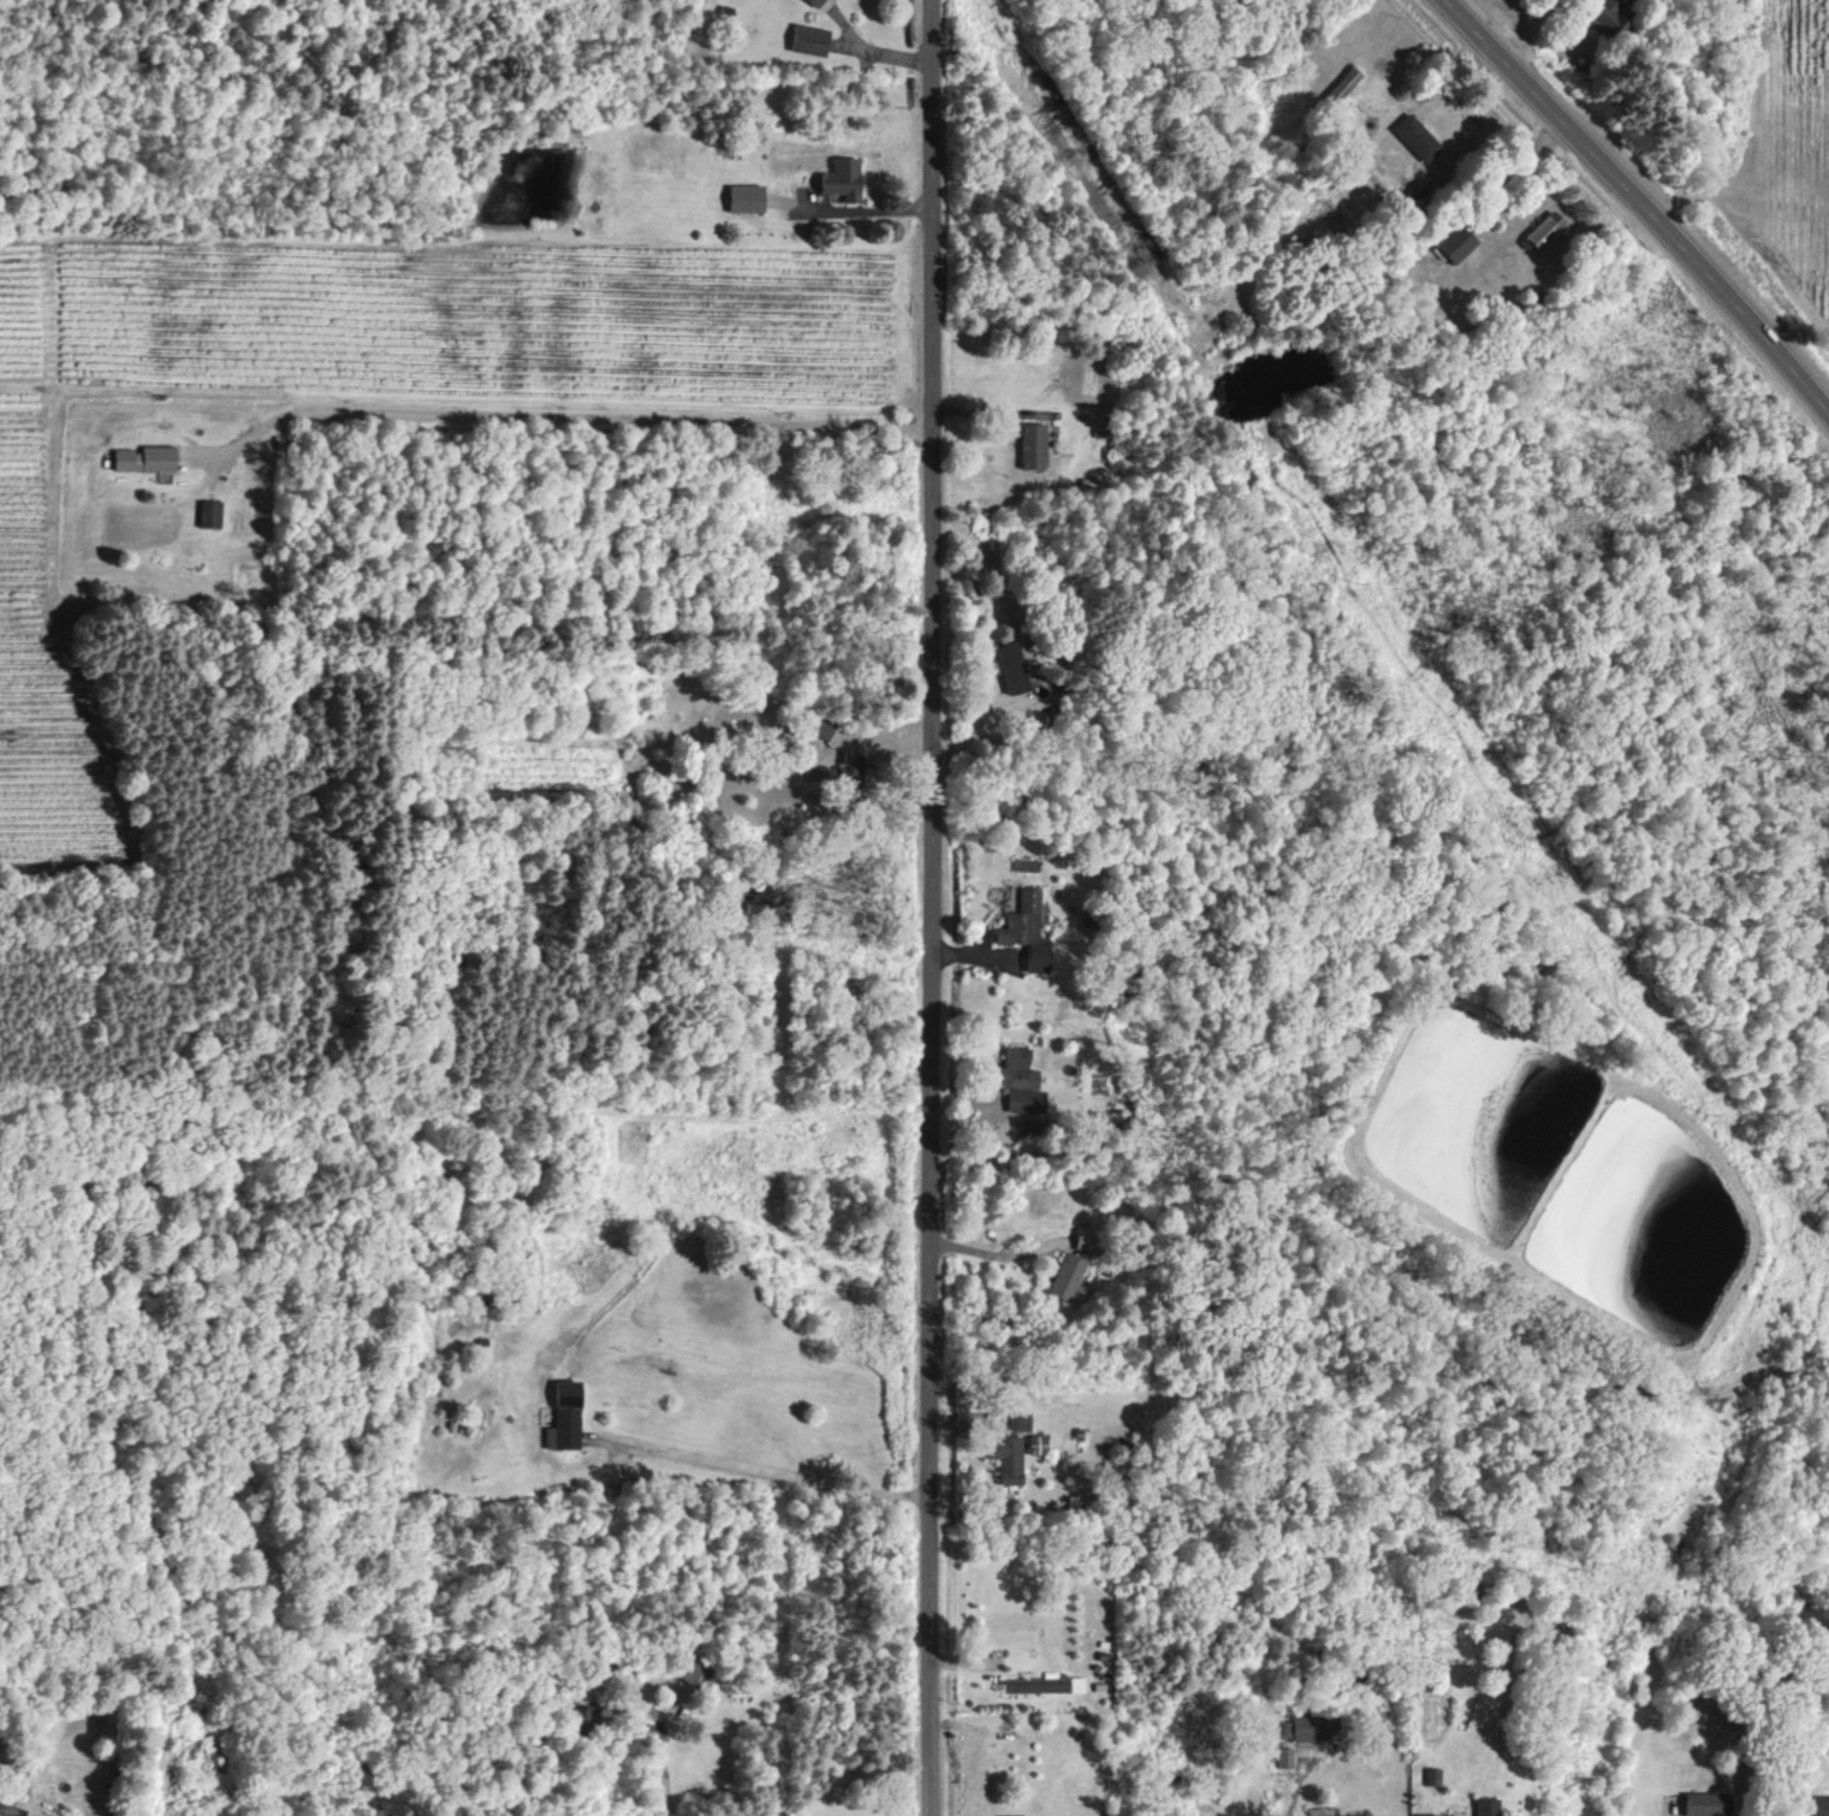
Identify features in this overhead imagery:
building: (818, 2)
building: (1610, 17)
road: (1527, 30)
building: (810, 38)
building: (1344, 85)
building: (1418, 137)
building: (843, 178)
building: (747, 197)
road: (1640, 198)
building: (1546, 229)
building: (1457, 242)
road: (569, 415)
building: (1033, 445)
building: (146, 458)
building: (209, 512)
building: (1013, 667)
building: (821, 726)
building: (844, 767)
road: (927, 908)
building: (1027, 928)
building: (1020, 1080)
road: (990, 1252)
building: (1067, 1276)
building: (565, 1416)
building: (1020, 1424)
building: (1009, 1459)
road: (770, 1472)
building: (688, 1669)
building: (1037, 1684)
building: (1311, 1726)
building: (1285, 1756)
building: (1432, 1775)
road: (665, 1785)
road: (1294, 1786)
building: (1709, 1803)
building: (1819, 1805)
building: (1481, 1806)
building: (11, 1810)
building: (1318, 1811)
building: (1017, 1815)

